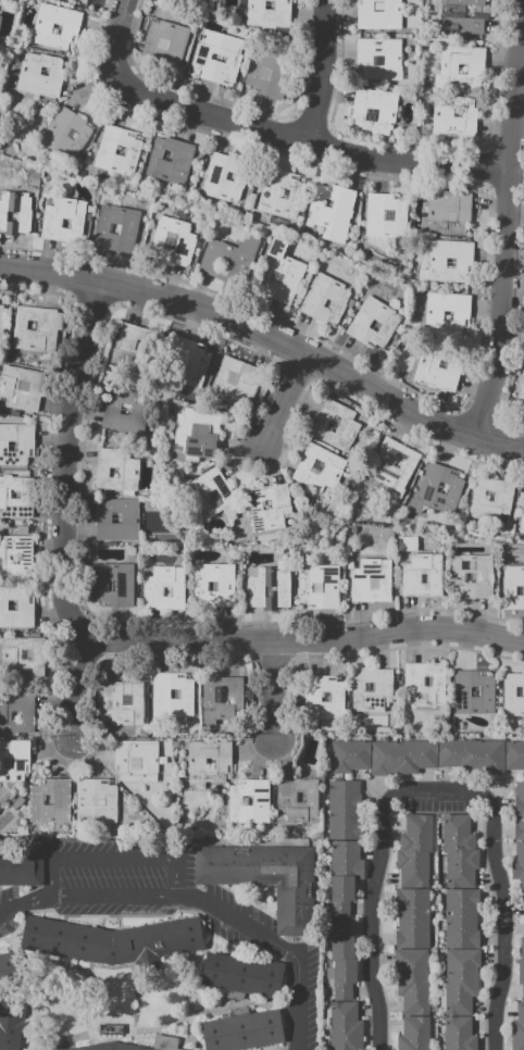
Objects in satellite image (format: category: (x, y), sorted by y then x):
building: (0, 4)
building: (269, 4)
building: (378, 14)
building: (267, 15)
building: (463, 16)
building: (41, 29)
building: (55, 29)
building: (164, 42)
road: (114, 57)
building: (200, 58)
building: (217, 58)
building: (378, 59)
building: (447, 68)
building: (461, 70)
building: (43, 71)
building: (267, 73)
road: (325, 73)
building: (39, 75)
building: (373, 110)
building: (453, 117)
building: (65, 133)
building: (73, 135)
road: (325, 149)
building: (105, 150)
building: (120, 150)
building: (165, 155)
building: (179, 160)
building: (229, 176)
building: (223, 177)
building: (269, 193)
building: (283, 193)
building: (330, 211)
building: (448, 211)
building: (13, 212)
building: (384, 215)
road: (510, 221)
building: (51, 223)
building: (65, 223)
building: (114, 228)
building: (127, 228)
building: (172, 240)
building: (228, 259)
building: (433, 262)
building: (450, 263)
building: (290, 272)
building: (276, 276)
building: (324, 299)
building: (327, 303)
building: (461, 314)
building: (447, 315)
building: (1, 321)
building: (388, 321)
building: (30, 325)
building: (36, 328)
road: (270, 334)
building: (135, 346)
building: (187, 362)
building: (437, 368)
building: (234, 382)
building: (9, 386)
building: (23, 386)
building: (522, 395)
road: (285, 399)
building: (124, 412)
building: (137, 412)
building: (335, 425)
building: (196, 434)
building: (12, 446)
building: (25, 446)
building: (397, 463)
road: (64, 464)
building: (394, 467)
building: (317, 468)
building: (112, 472)
building: (128, 472)
building: (436, 489)
building: (209, 493)
building: (488, 496)
building: (501, 496)
building: (16, 497)
building: (265, 504)
building: (271, 513)
building: (522, 515)
building: (115, 518)
building: (129, 518)
building: (16, 555)
building: (12, 558)
building: (469, 577)
building: (483, 577)
building: (410, 578)
building: (424, 578)
building: (359, 584)
building: (372, 584)
building: (110, 586)
building: (200, 586)
building: (212, 586)
building: (267, 586)
building: (124, 587)
building: (315, 587)
building: (329, 587)
building: (512, 587)
building: (164, 588)
building: (519, 590)
building: (12, 604)
building: (24, 607)
road: (310, 642)
building: (11, 654)
building: (25, 654)
building: (427, 680)
building: (413, 685)
road: (78, 686)
building: (370, 687)
building: (382, 687)
road: (273, 689)
building: (461, 691)
building: (474, 691)
building: (519, 691)
building: (159, 693)
building: (174, 693)
building: (512, 693)
building: (220, 698)
building: (323, 698)
building: (123, 702)
building: (15, 715)
building: (26, 716)
building: (472, 754)
building: (349, 755)
building: (514, 755)
building: (401, 757)
building: (14, 759)
building: (135, 760)
building: (195, 762)
building: (8, 763)
building: (209, 763)
building: (286, 797)
building: (300, 797)
building: (95, 799)
building: (47, 800)
building: (60, 800)
building: (246, 800)
building: (260, 800)
building: (342, 810)
building: (519, 811)
building: (416, 833)
building: (459, 850)
road: (114, 858)
building: (346, 859)
building: (517, 860)
building: (22, 865)
building: (234, 865)
building: (413, 868)
building: (522, 887)
building: (341, 888)
building: (292, 891)
road: (116, 895)
road: (371, 898)
road: (504, 900)
road: (27, 903)
building: (339, 910)
building: (462, 917)
building: (411, 918)
building: (339, 927)
building: (58, 937)
building: (166, 938)
building: (113, 946)
road: (278, 948)
building: (342, 967)
building: (521, 967)
building: (10, 971)
building: (242, 974)
building: (459, 979)
building: (412, 980)
building: (345, 1026)
building: (517, 1027)
building: (241, 1032)
building: (9, 1033)
building: (414, 1034)
building: (458, 1034)
building: (108, 1046)
building: (79, 1047)
building: (134, 1048)

